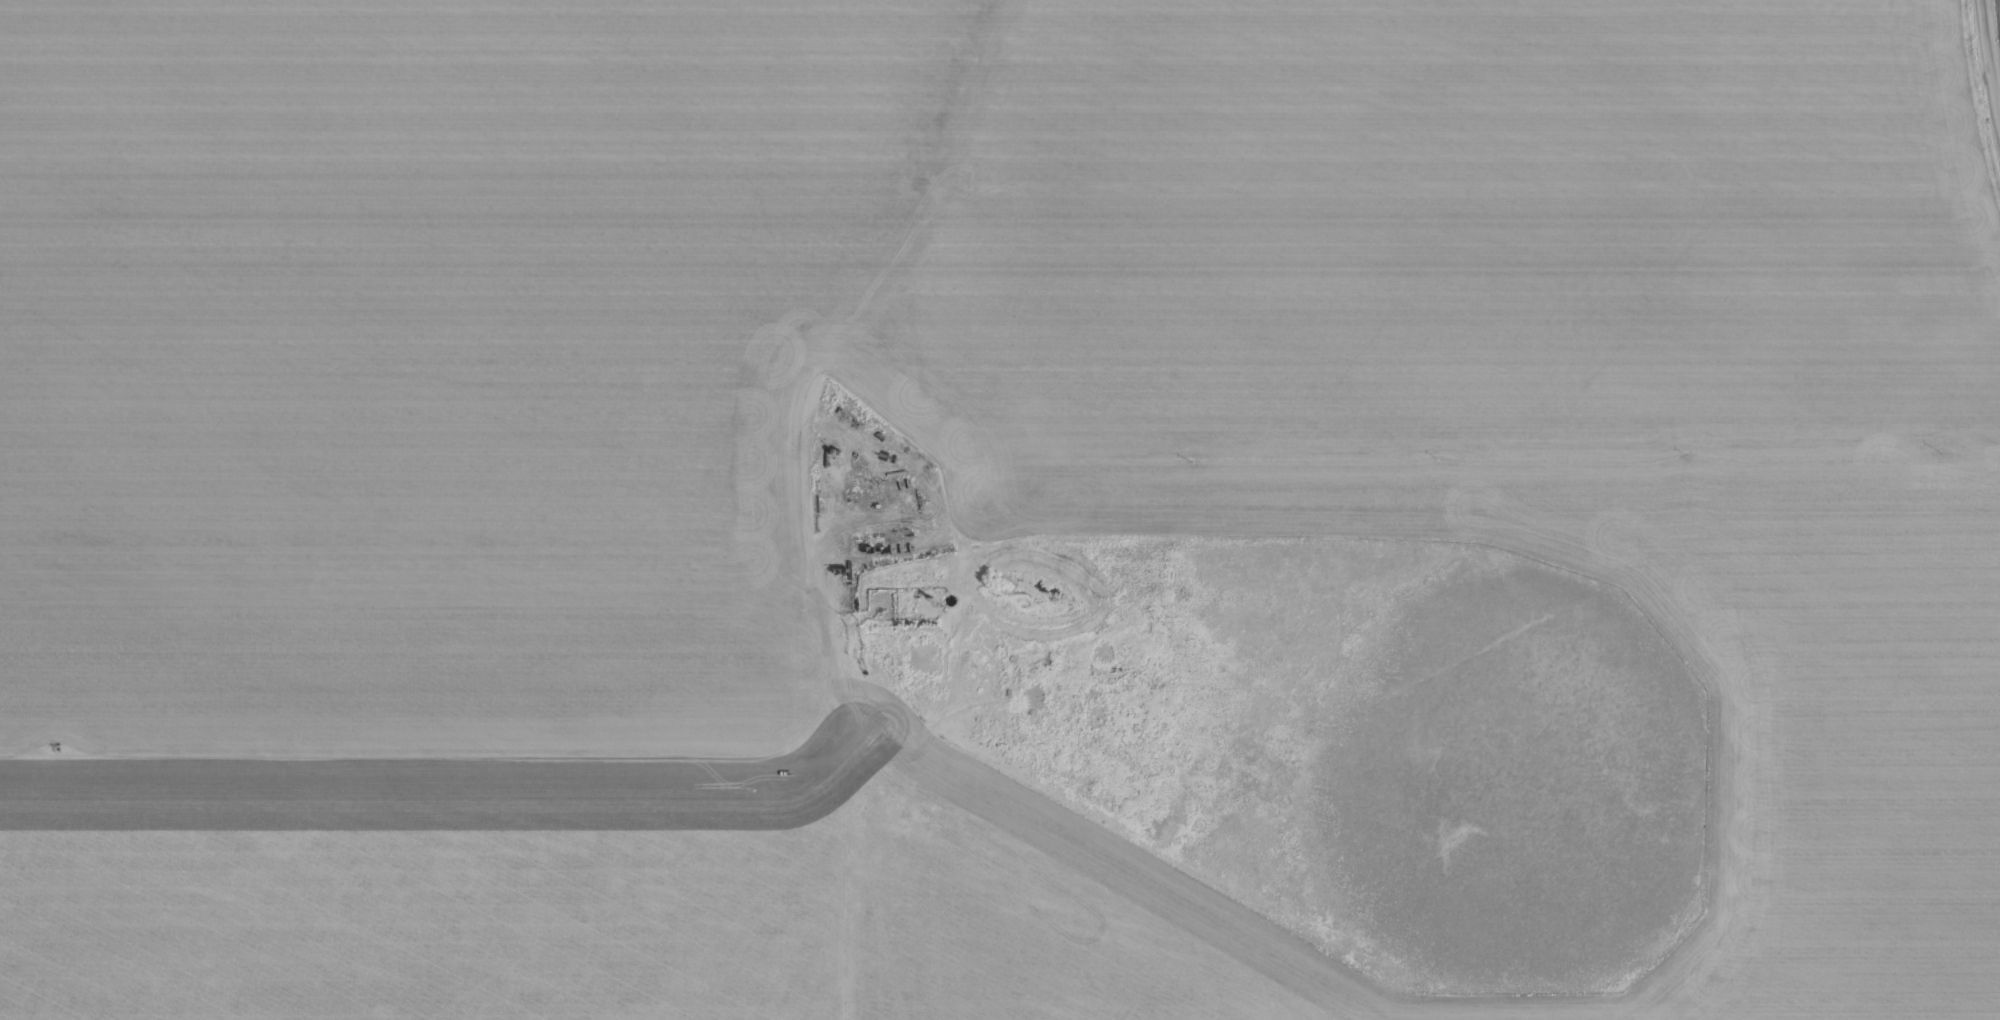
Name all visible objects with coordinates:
road: (1989, 54)

